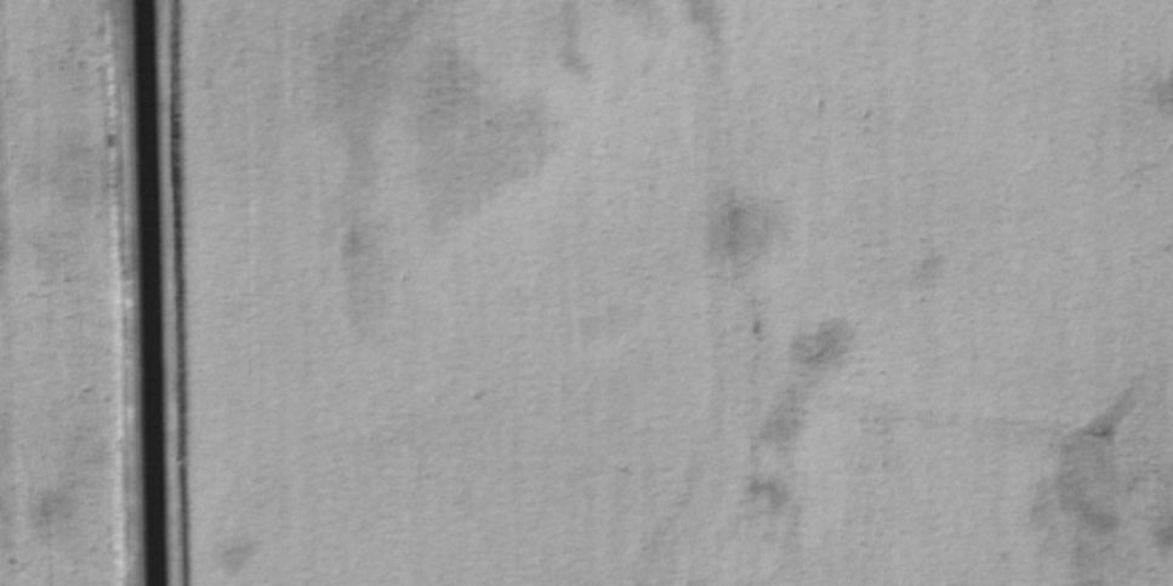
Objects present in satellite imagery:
road: (155, 292)
crop: (676, 292)

